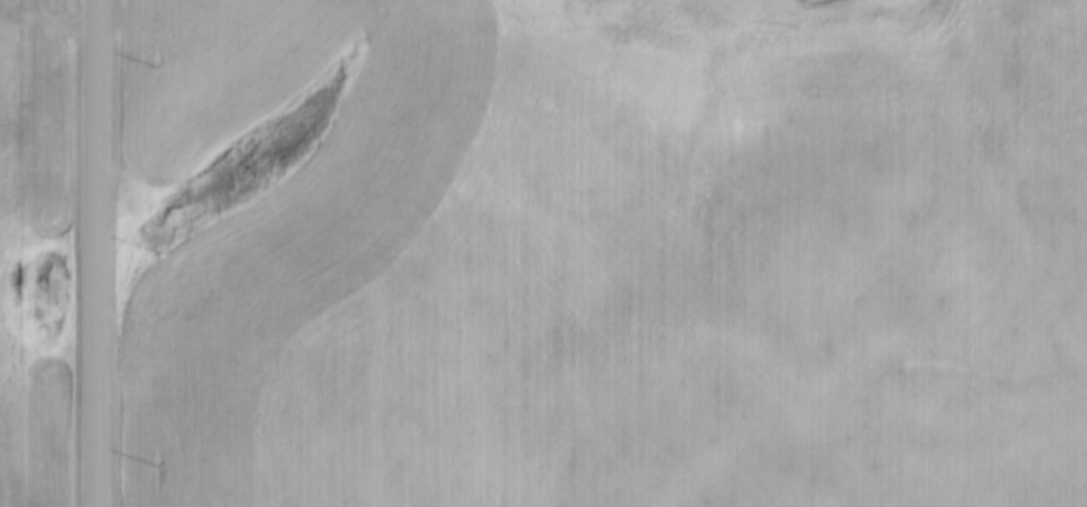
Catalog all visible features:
road: (97, 253)

